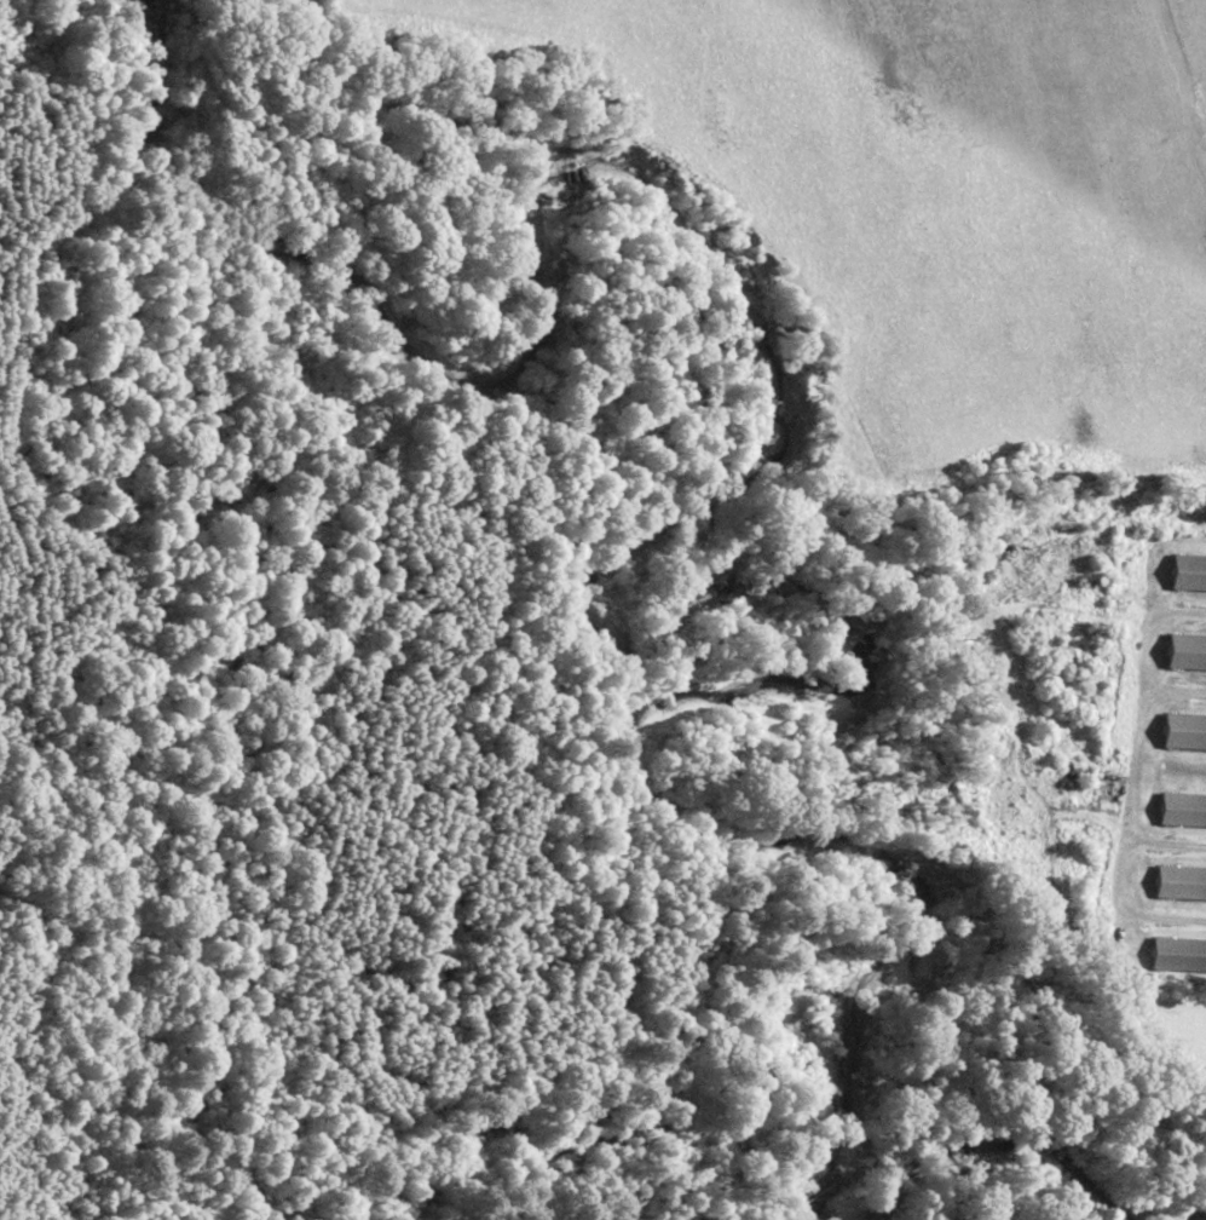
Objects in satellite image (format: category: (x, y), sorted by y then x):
building: (1188, 574)
building: (1185, 654)
building: (1183, 733)
building: (1182, 811)
building: (1179, 885)
building: (1178, 956)

